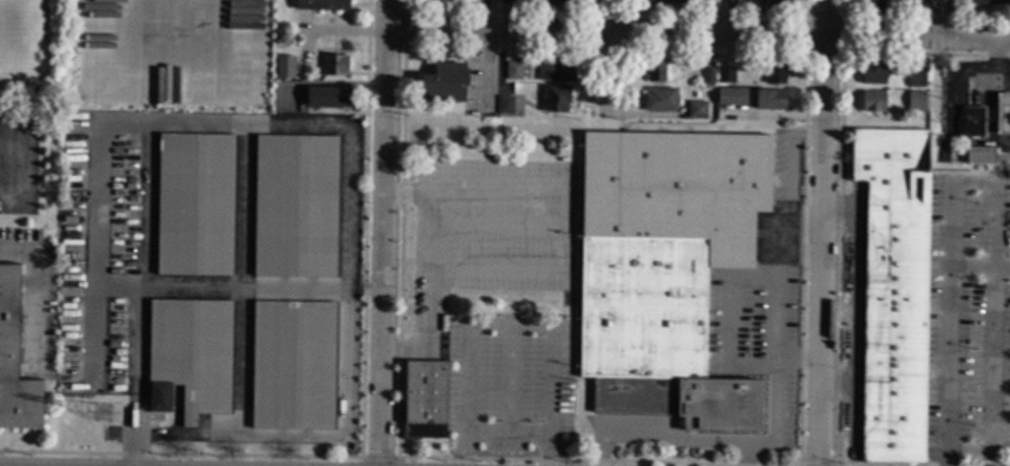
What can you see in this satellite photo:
building: (667, 1)
building: (508, 2)
building: (555, 2)
building: (777, 2)
building: (989, 2)
building: (920, 3)
building: (321, 5)
building: (873, 5)
road: (614, 18)
road: (343, 32)
road: (697, 37)
building: (281, 51)
road: (936, 60)
building: (335, 65)
building: (284, 67)
building: (557, 70)
building: (655, 70)
building: (513, 71)
building: (776, 72)
road: (488, 73)
building: (873, 74)
building: (709, 76)
building: (725, 76)
building: (916, 78)
building: (444, 83)
building: (731, 96)
building: (327, 97)
building: (556, 99)
building: (660, 100)
building: (769, 100)
building: (916, 101)
building: (873, 102)
building: (505, 105)
building: (696, 110)
building: (1003, 114)
building: (970, 123)
road: (346, 134)
building: (980, 156)
road: (793, 166)
road: (23, 169)
road: (976, 187)
road: (427, 200)
building: (195, 205)
building: (296, 206)
road: (386, 232)
road: (828, 232)
road: (97, 238)
building: (665, 269)
road: (222, 291)
building: (893, 292)
road: (366, 293)
road: (776, 298)
road: (32, 300)
road: (425, 320)
road: (728, 320)
road: (949, 341)
road: (551, 354)
building: (190, 356)
building: (14, 362)
building: (294, 366)
road: (509, 380)
building: (480, 395)
building: (424, 400)
power tower: (106, 418)
road: (775, 430)
road: (527, 434)
road: (471, 435)
road: (656, 437)
road: (131, 450)

